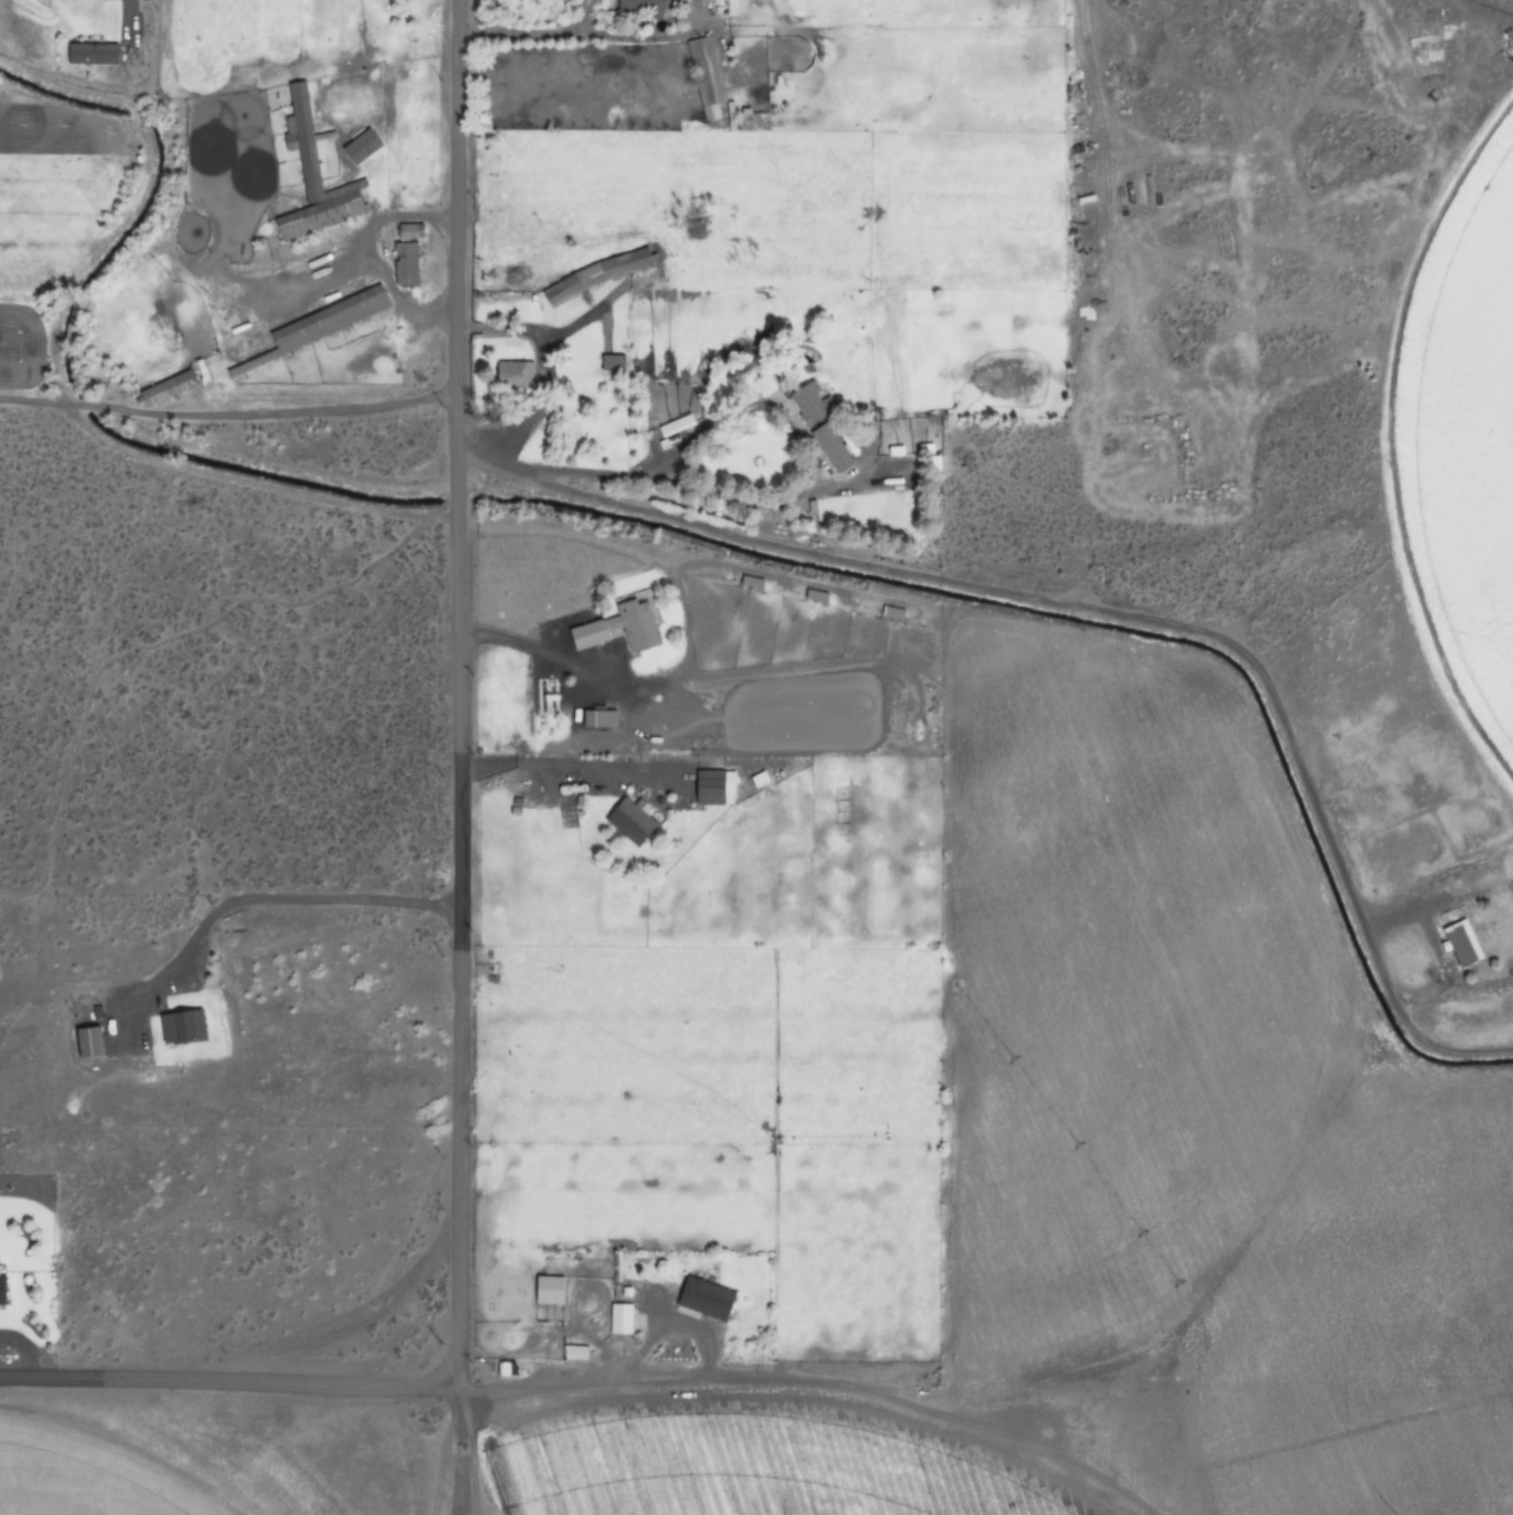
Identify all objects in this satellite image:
building: (640, 5)
road: (124, 6)
building: (92, 53)
building: (705, 71)
building: (315, 175)
road: (424, 218)
building: (409, 231)
building: (404, 264)
building: (327, 322)
building: (613, 361)
building: (518, 380)
building: (173, 386)
building: (764, 386)
building: (810, 403)
building: (831, 449)
crop: (614, 559)
road: (872, 564)
building: (751, 583)
building: (815, 597)
road: (457, 598)
building: (637, 622)
building: (588, 635)
building: (545, 697)
building: (598, 719)
building: (709, 788)
building: (630, 822)
road: (266, 904)
building: (1428, 934)
building: (1461, 943)
building: (182, 1026)
building: (89, 1042)
building: (2, 1289)
building: (549, 1290)
building: (705, 1299)
road: (360, 1308)
building: (619, 1318)
road: (454, 1355)
road: (227, 1380)

